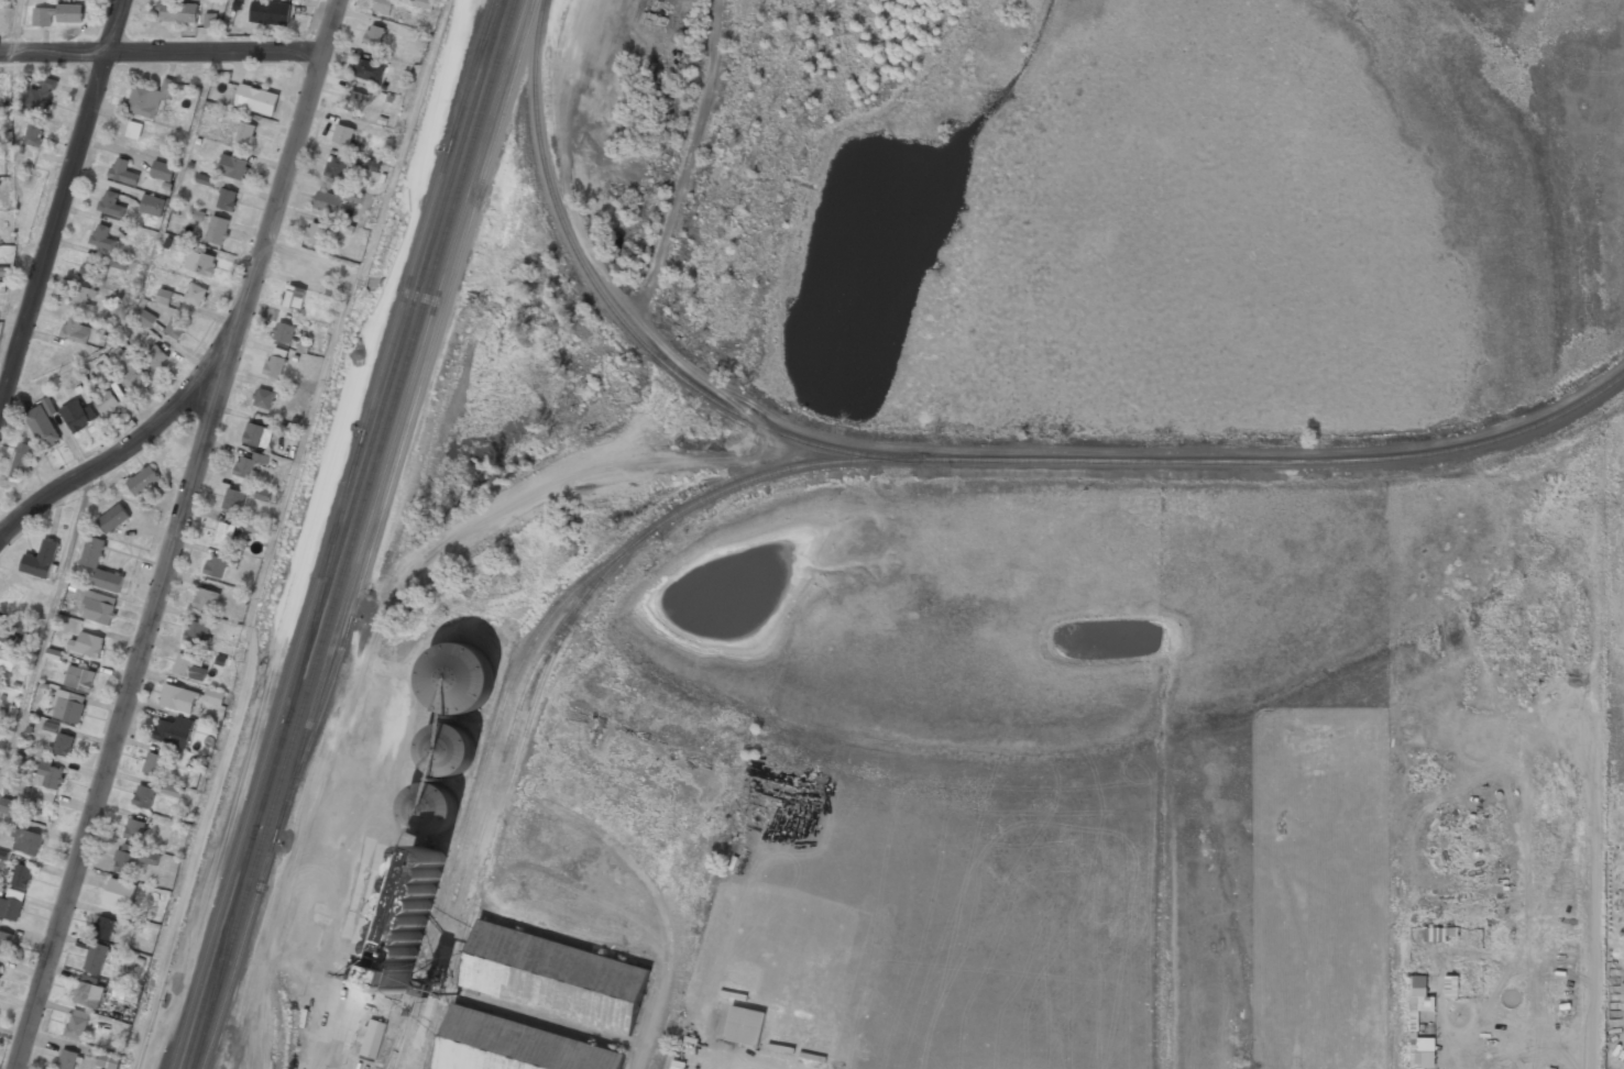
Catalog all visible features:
building: (423, 2)
building: (1, 3)
building: (383, 5)
building: (176, 11)
building: (270, 11)
building: (56, 13)
building: (210, 20)
road: (17, 26)
building: (374, 34)
road: (161, 53)
building: (369, 69)
building: (43, 91)
building: (150, 97)
building: (256, 99)
building: (355, 101)
building: (223, 113)
building: (134, 129)
building: (246, 132)
building: (34, 133)
building: (342, 134)
building: (367, 163)
building: (233, 165)
building: (336, 166)
building: (163, 169)
building: (123, 170)
building: (205, 179)
building: (354, 196)
building: (227, 198)
building: (328, 200)
road: (61, 201)
building: (111, 202)
building: (152, 203)
building: (218, 228)
building: (345, 228)
building: (314, 232)
building: (102, 236)
building: (200, 260)
building: (120, 263)
building: (88, 265)
building: (4, 271)
building: (196, 293)
building: (80, 296)
building: (164, 296)
building: (294, 296)
building: (147, 318)
railway: (626, 323)
building: (174, 327)
building: (76, 329)
building: (284, 332)
building: (156, 356)
building: (275, 361)
building: (131, 368)
building: (263, 397)
building: (109, 401)
building: (77, 414)
building: (44, 422)
building: (256, 433)
road: (120, 452)
building: (21, 459)
railway: (1288, 461)
building: (246, 463)
building: (143, 480)
railway: (552, 484)
building: (263, 494)
building: (234, 499)
building: (113, 517)
building: (254, 527)
building: (223, 532)
road: (277, 532)
road: (177, 533)
railway: (344, 533)
railway: (366, 533)
railway: (330, 534)
railway: (356, 534)
building: (41, 559)
building: (216, 564)
building: (92, 565)
building: (206, 598)
building: (99, 606)
road: (46, 622)
building: (21, 626)
building: (196, 630)
building: (7, 636)
building: (87, 642)
building: (7, 659)
building: (185, 664)
railway: (517, 673)
building: (79, 676)
building: (458, 677)
building: (0, 686)
building: (215, 696)
building: (178, 697)
building: (68, 705)
building: (51, 727)
building: (174, 730)
building: (63, 742)
building: (449, 749)
building: (155, 762)
building: (45, 770)
railway: (497, 781)
building: (173, 790)
building: (144, 795)
building: (10, 806)
building: (430, 808)
railway: (498, 823)
building: (134, 828)
building: (26, 841)
building: (133, 857)
building: (21, 875)
building: (120, 892)
building: (10, 906)
building: (134, 922)
building: (105, 927)
building: (1436, 934)
building: (4, 940)
building: (96, 957)
building: (0, 969)
building: (555, 977)
building: (89, 993)
building: (127, 994)
building: (1418, 1006)
building: (77, 1023)
building: (745, 1026)
railway: (400, 1035)
building: (372, 1039)
building: (517, 1046)
building: (66, 1059)
building: (108, 1060)
building: (1416, 1068)

